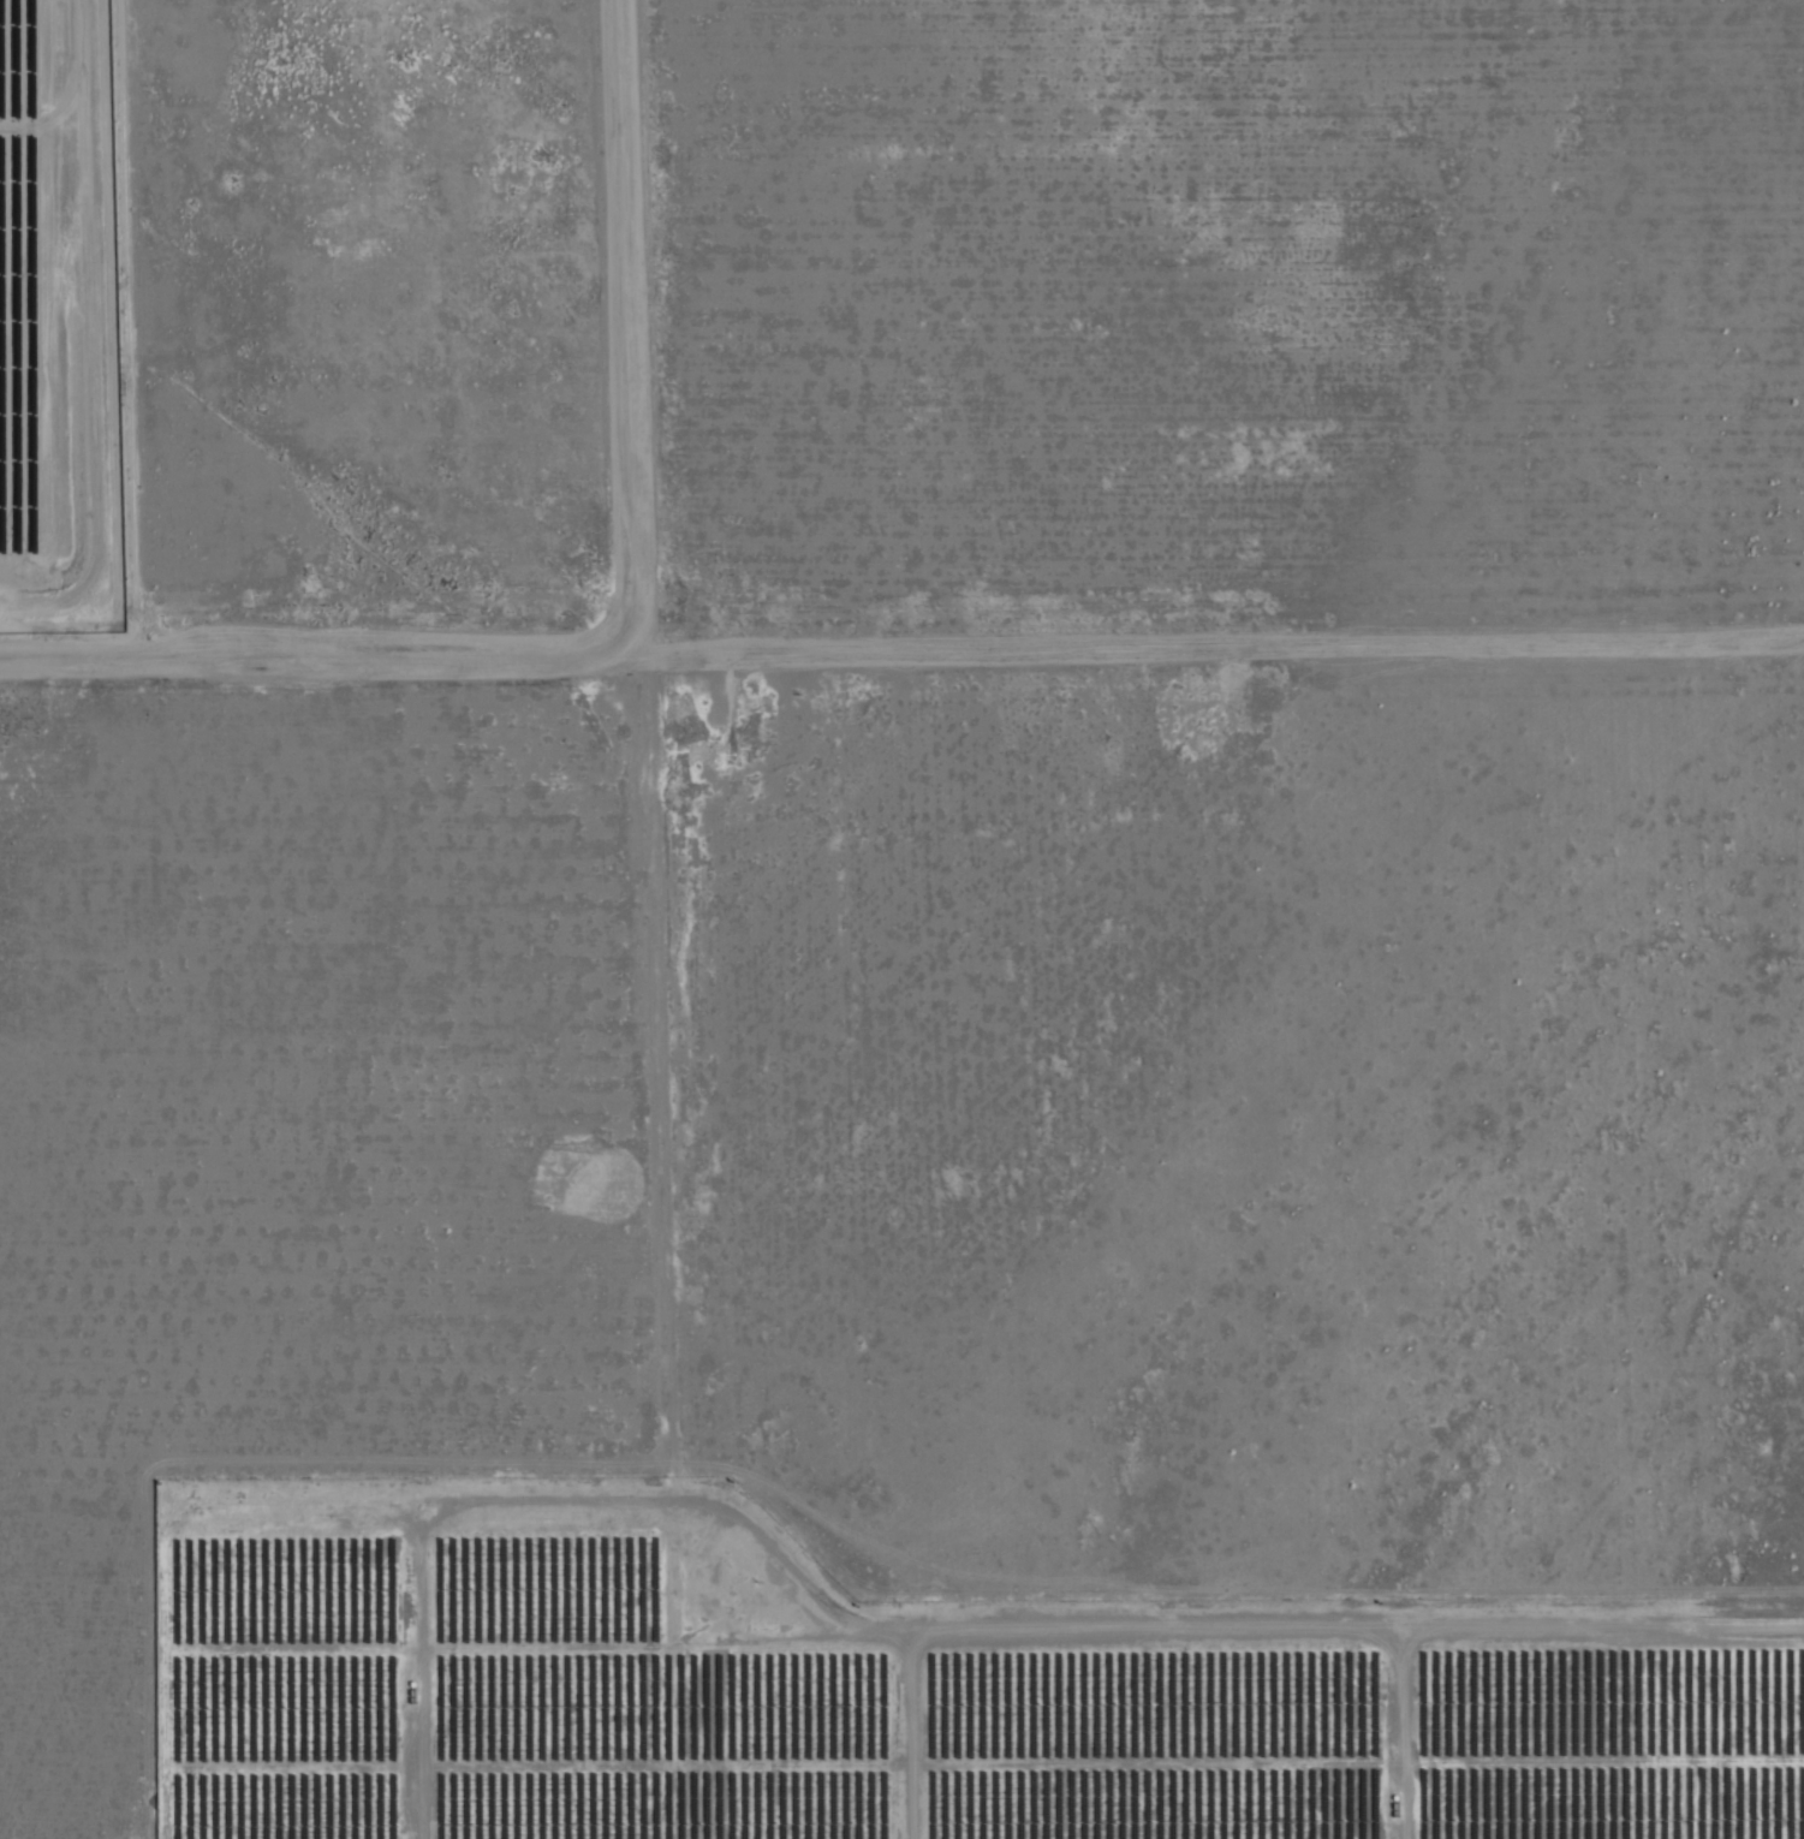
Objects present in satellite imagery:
solar farm: (59, 320)
road: (901, 653)

